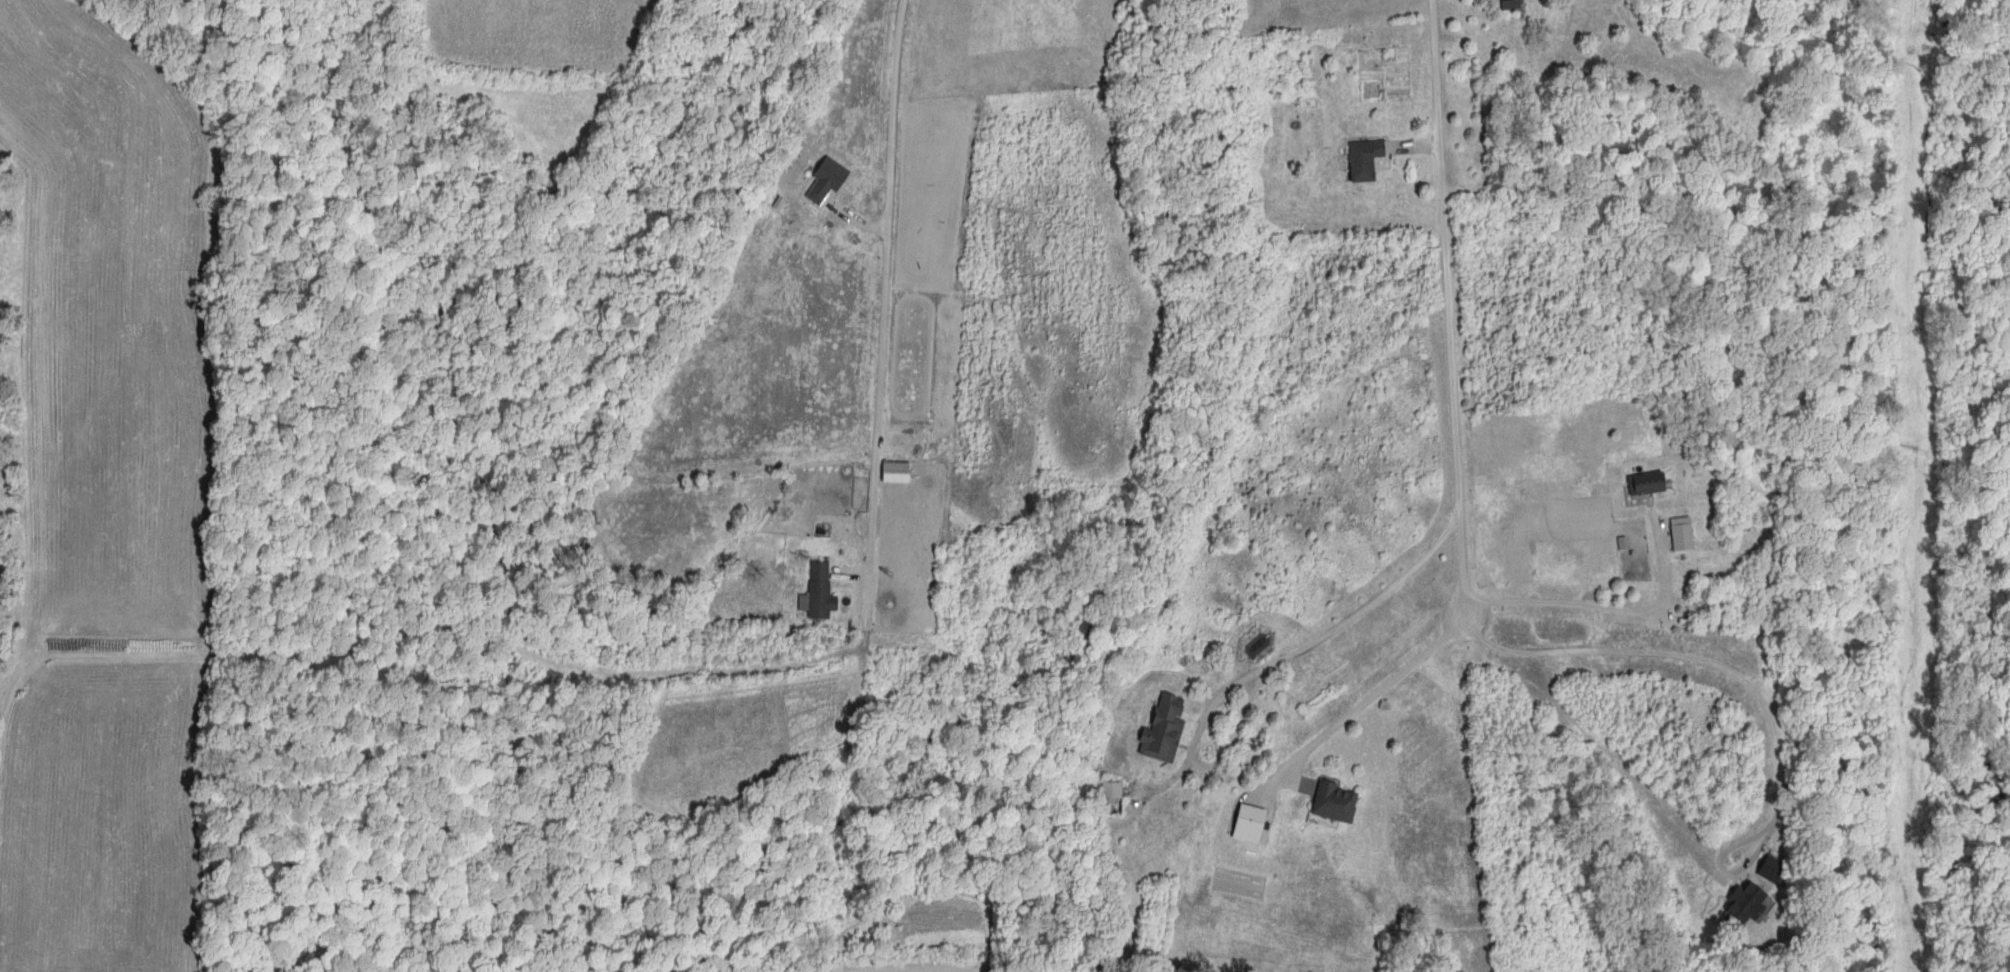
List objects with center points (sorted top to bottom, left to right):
building: (1512, 5)
building: (1367, 160)
road: (886, 286)
road: (1453, 307)
building: (1649, 484)
building: (1685, 535)
building: (822, 594)
road: (1605, 599)
road: (1327, 632)
road: (1710, 649)
road: (1375, 691)
building: (1166, 731)
building: (1115, 799)
building: (1338, 804)
building: (1252, 825)
building: (1749, 905)

